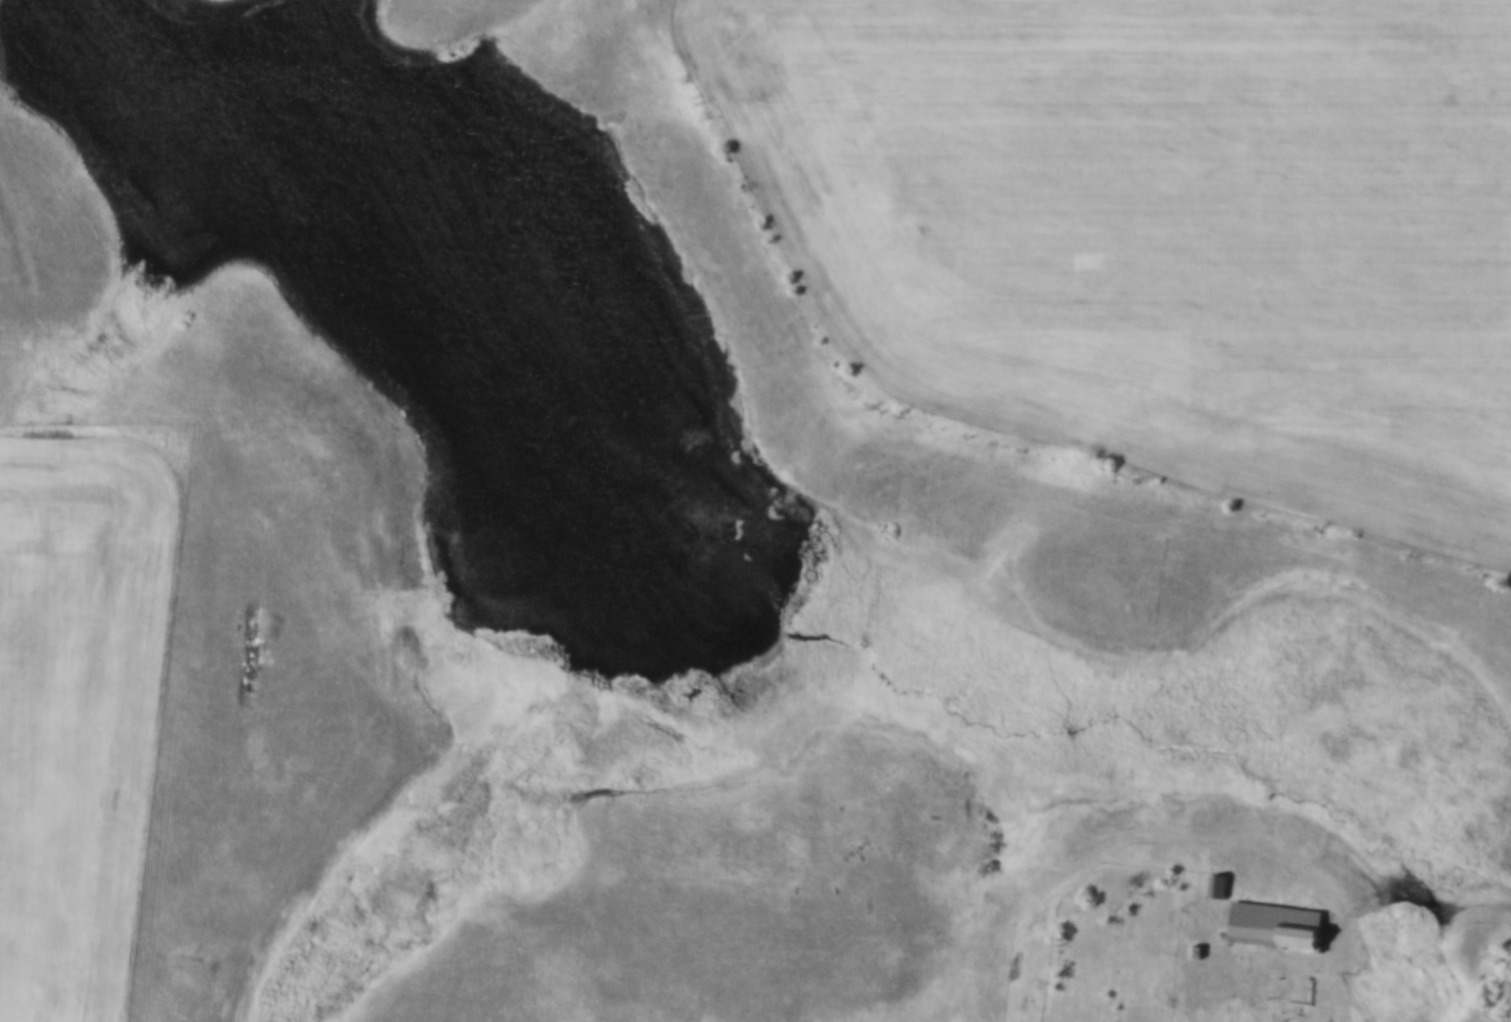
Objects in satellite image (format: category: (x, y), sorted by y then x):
building: (1213, 878)
building: (1217, 888)
building: (1271, 919)
building: (1191, 945)
road: (1359, 981)

